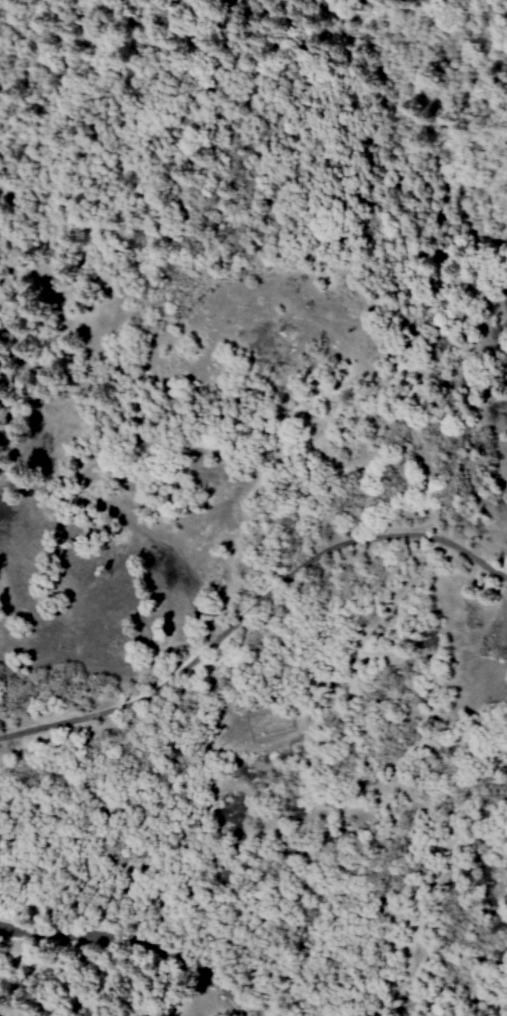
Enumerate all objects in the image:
road: (137, 941)

